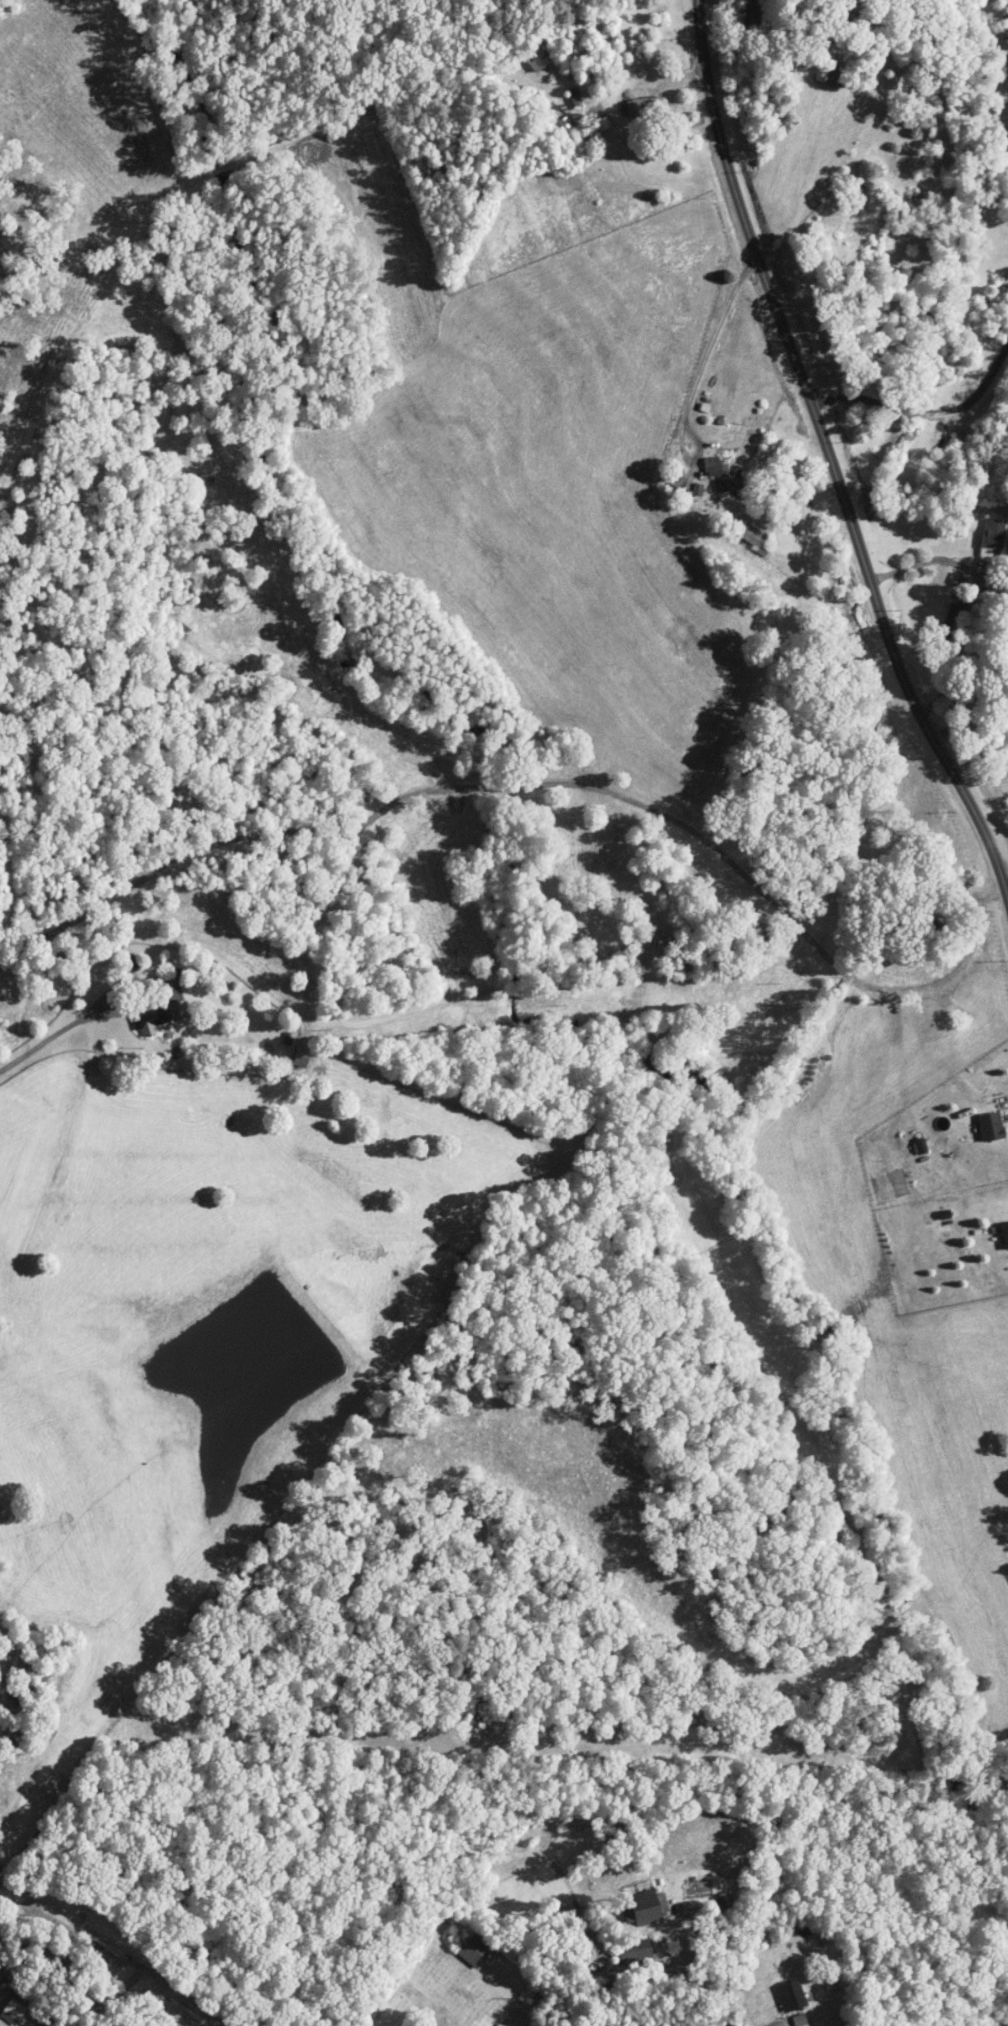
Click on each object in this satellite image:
building: (751, 14)
building: (537, 59)
building: (831, 75)
building: (646, 108)
building: (567, 125)
building: (854, 234)
road: (698, 385)
road: (929, 408)
road: (824, 456)
building: (724, 474)
building: (750, 536)
building: (993, 541)
road: (931, 561)
building: (952, 616)
road: (960, 654)
road: (973, 712)
road: (979, 755)
road: (1005, 871)
building: (927, 927)
building: (132, 965)
road: (134, 994)
building: (152, 1022)
road: (45, 1039)
building: (301, 1056)
building: (991, 1126)
building: (1005, 1232)
building: (649, 1907)
building: (475, 1950)
building: (635, 1952)
road: (125, 1953)
road: (694, 1971)
road: (407, 1973)
building: (791, 1995)
road: (113, 1996)
building: (15, 2009)

